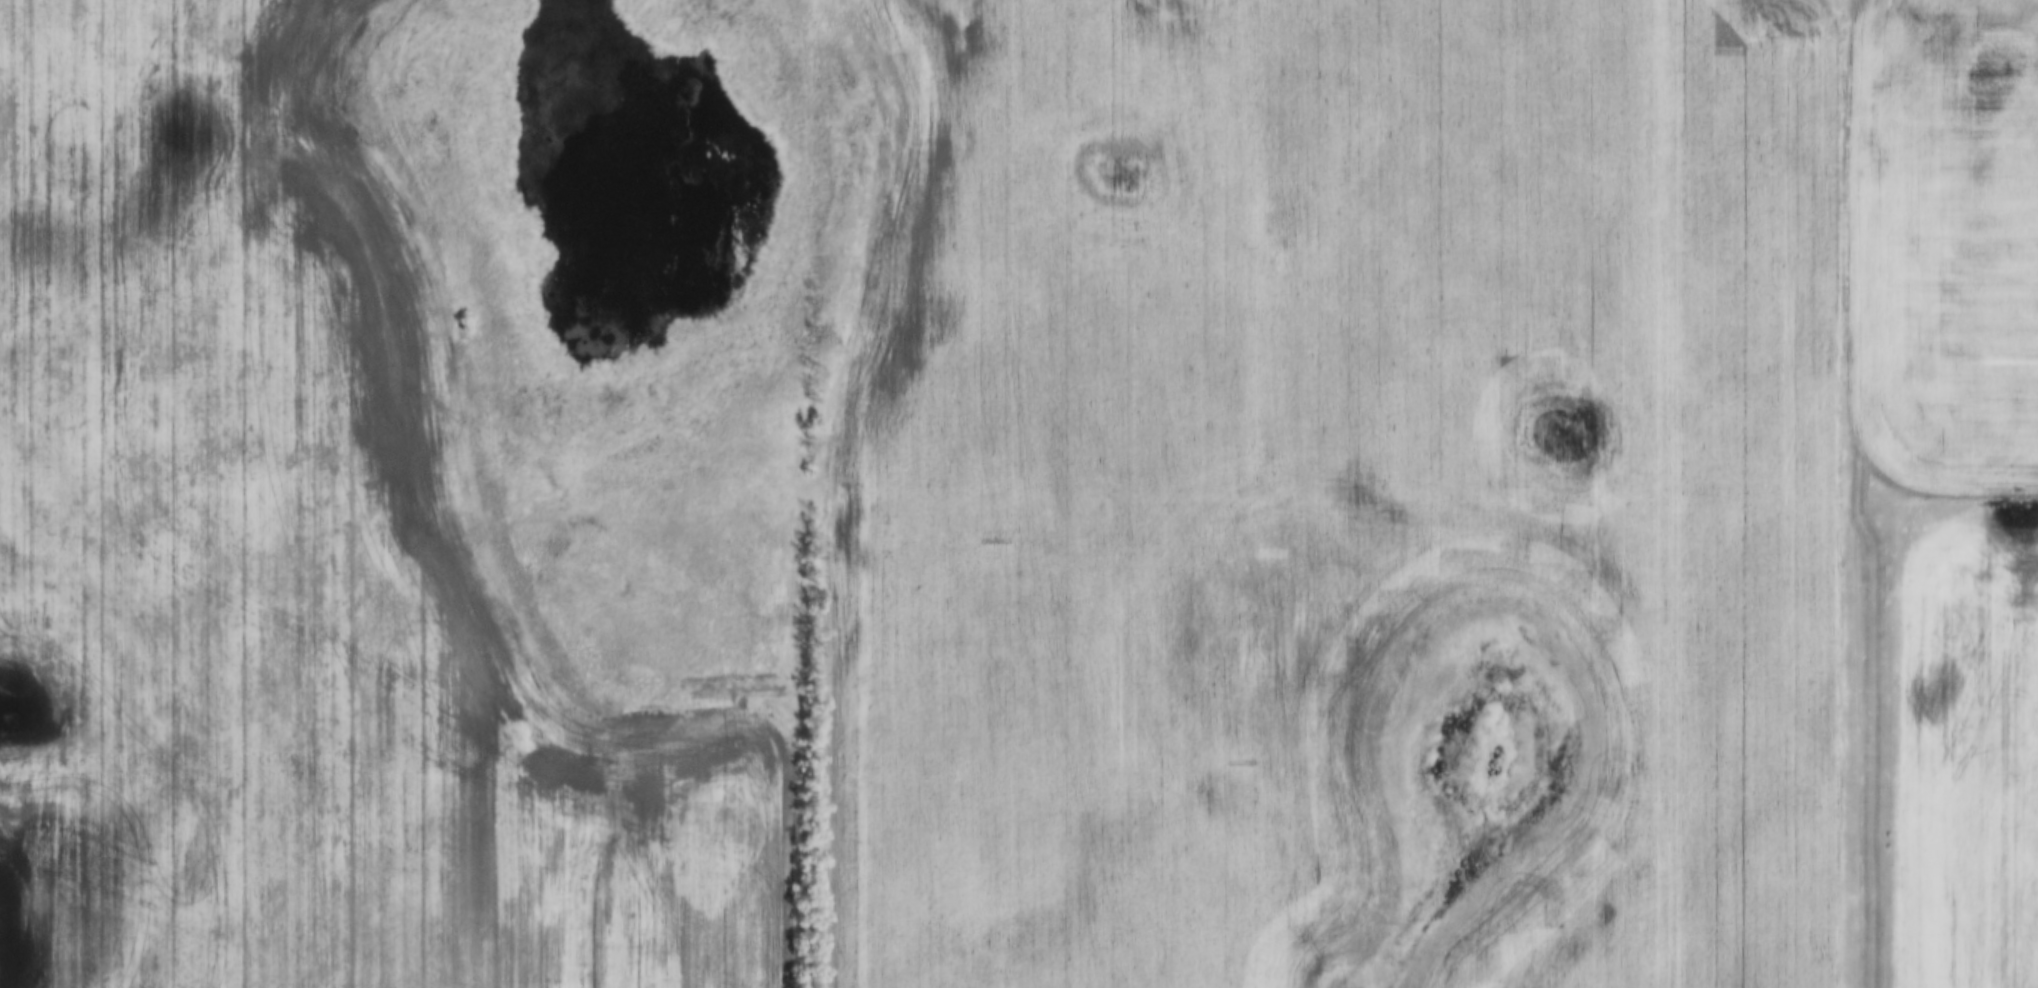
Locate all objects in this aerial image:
road: (1851, 493)

